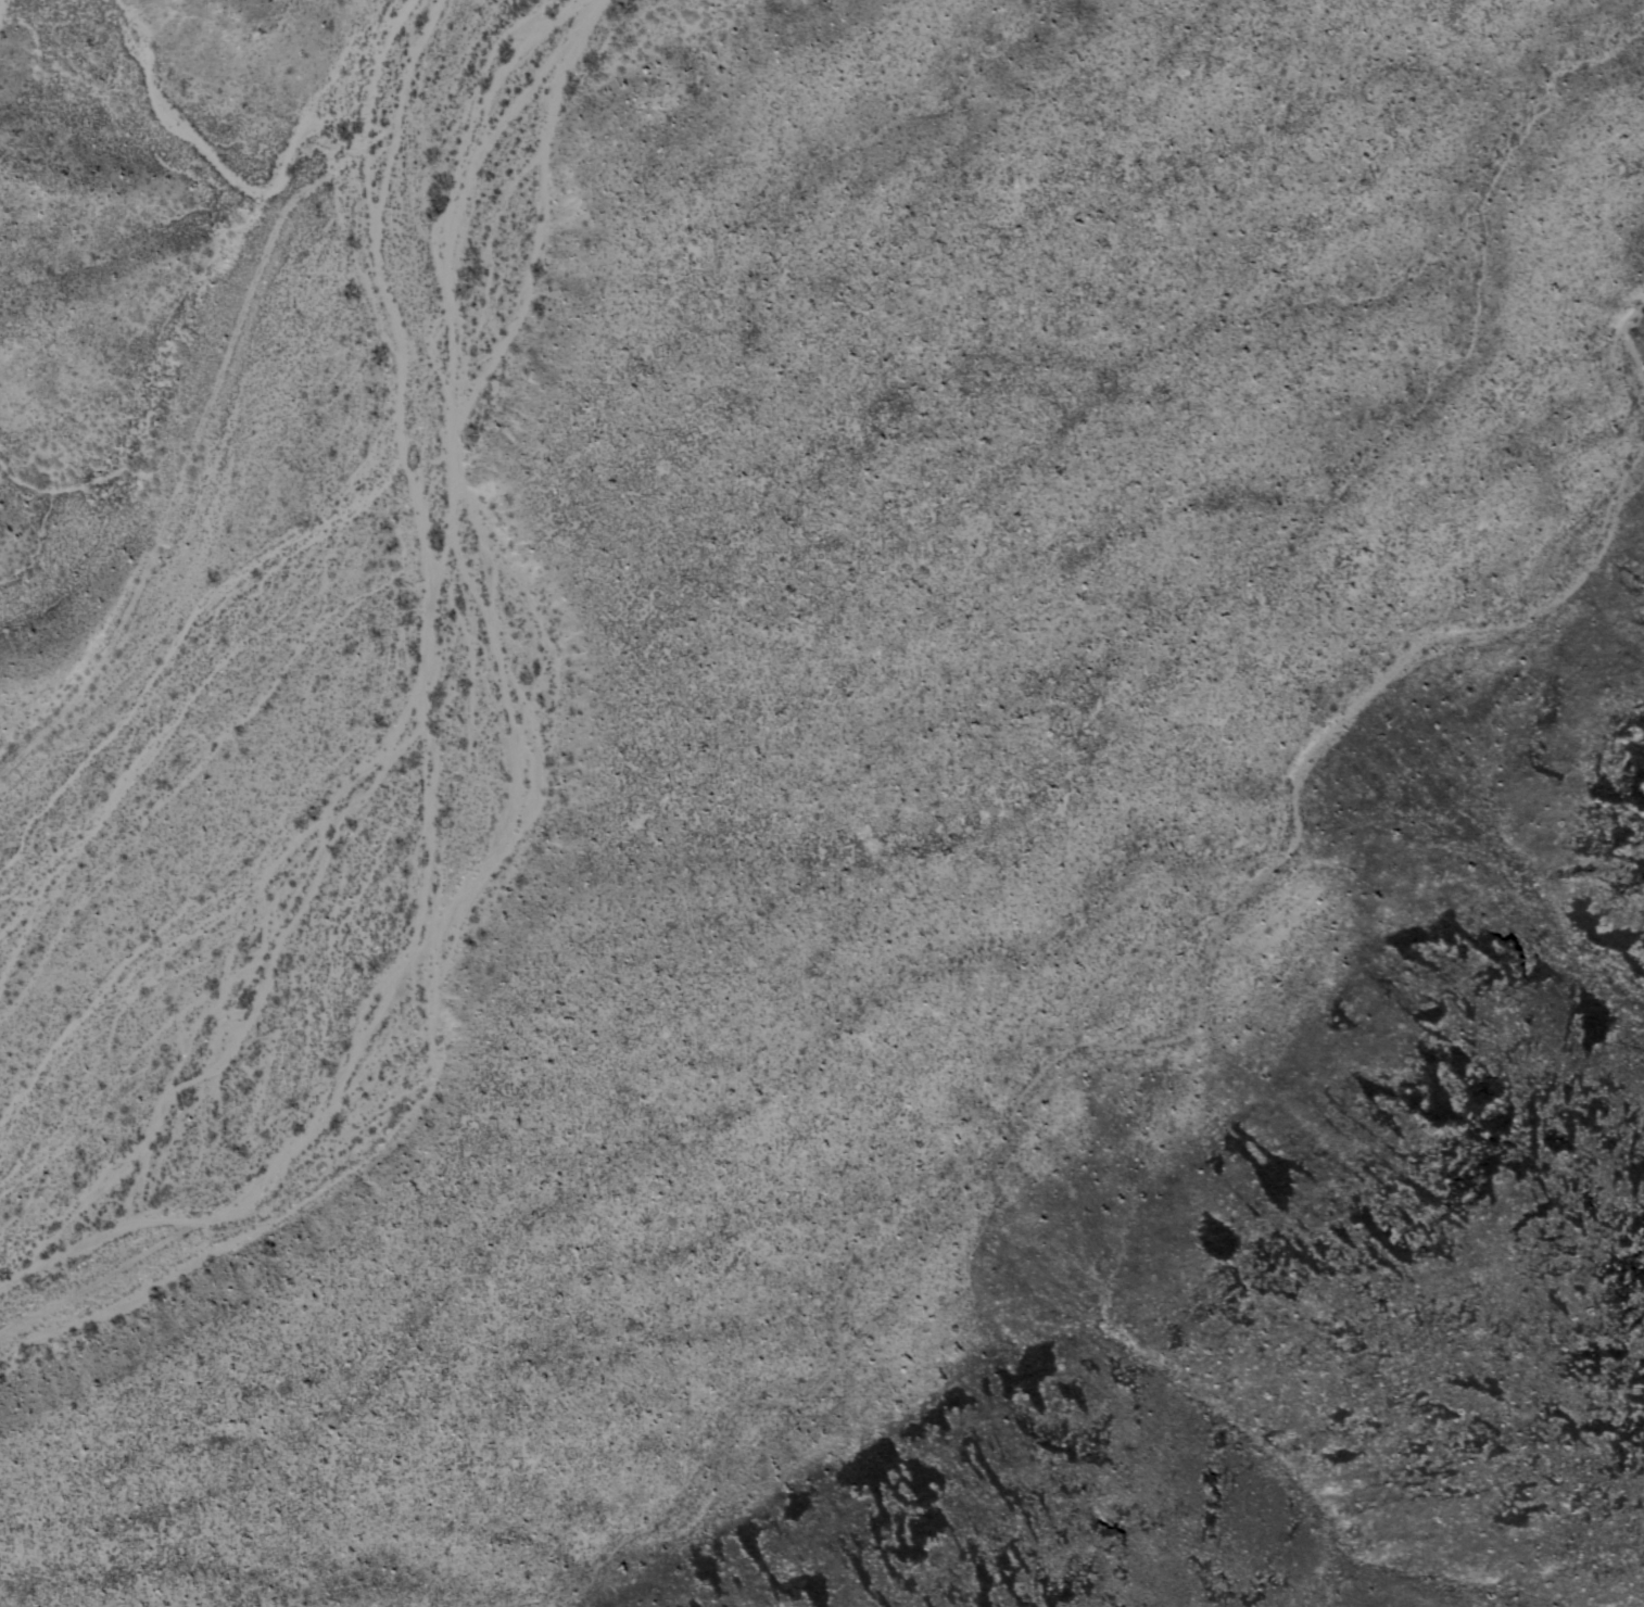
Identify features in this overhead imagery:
road: (200, 395)

